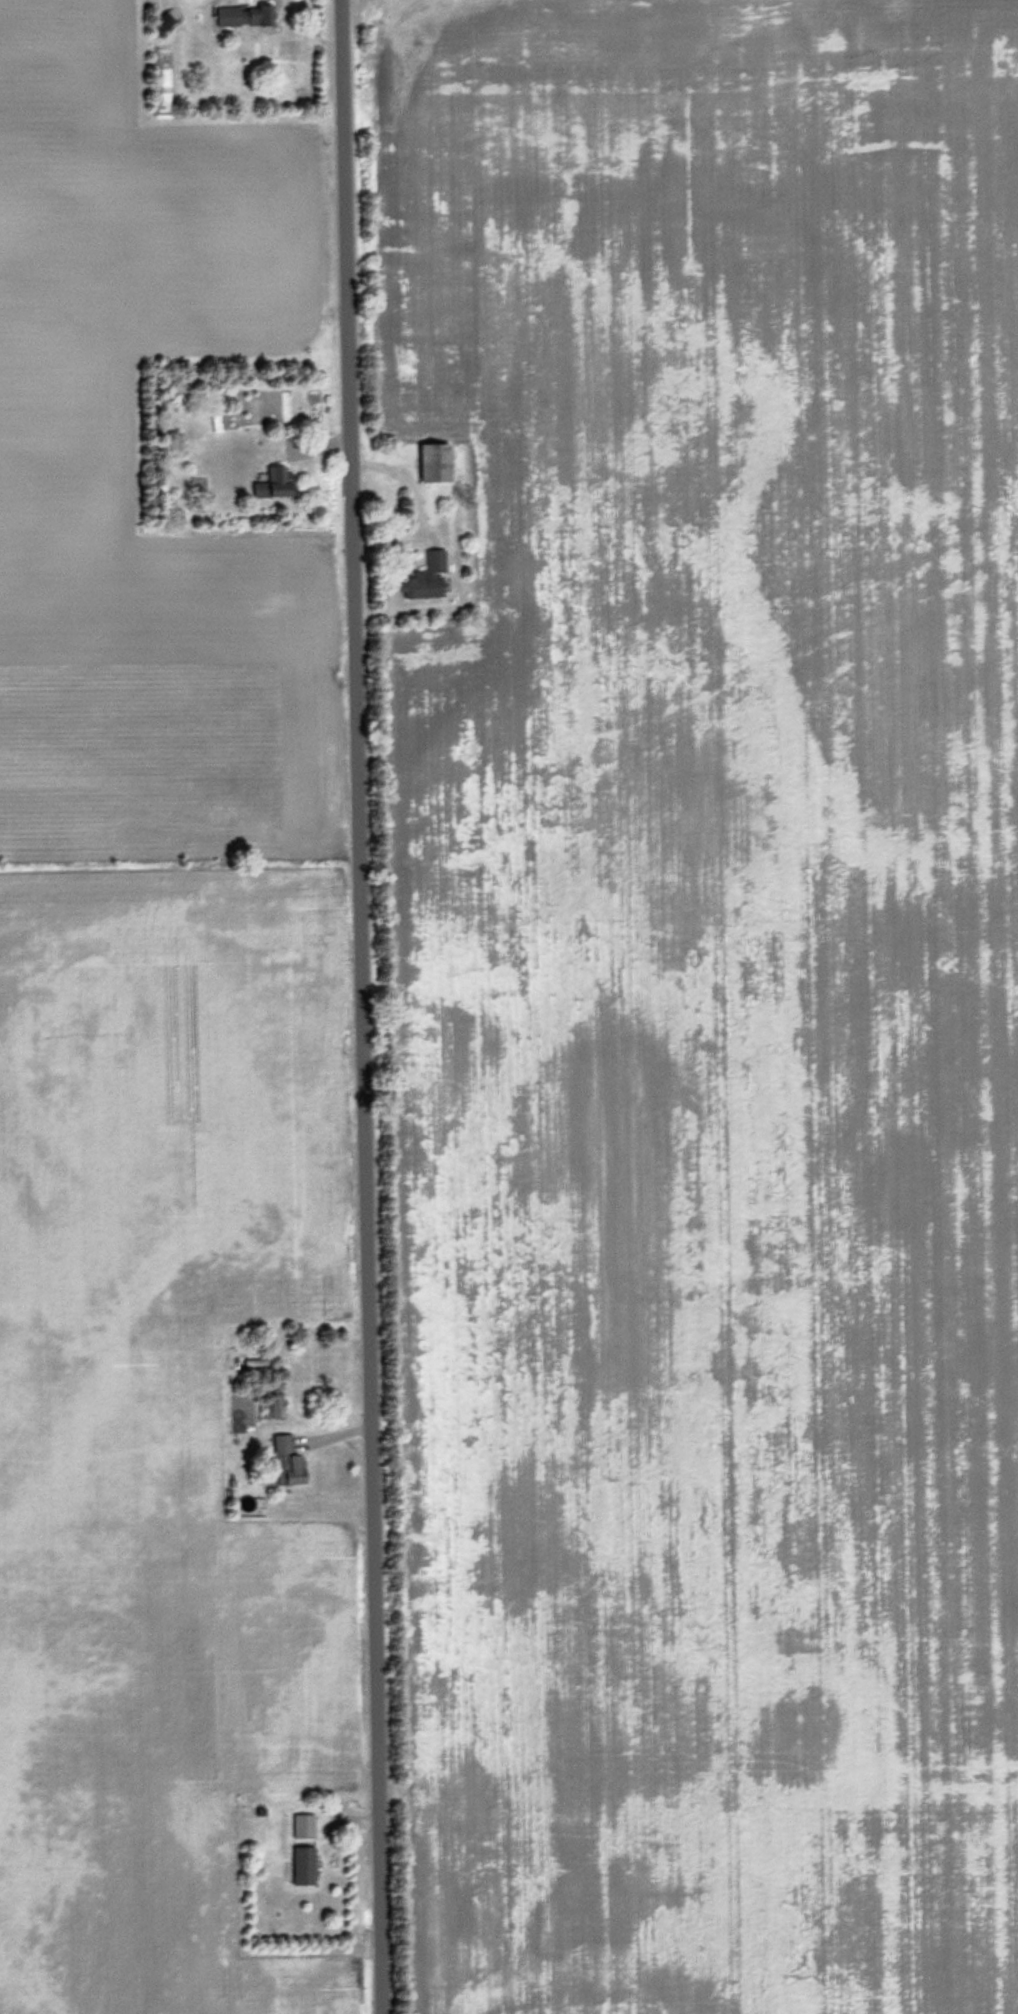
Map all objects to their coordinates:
building: (247, 12)
building: (439, 462)
building: (278, 482)
building: (428, 577)
road: (367, 1007)
building: (291, 1459)
building: (306, 1864)

